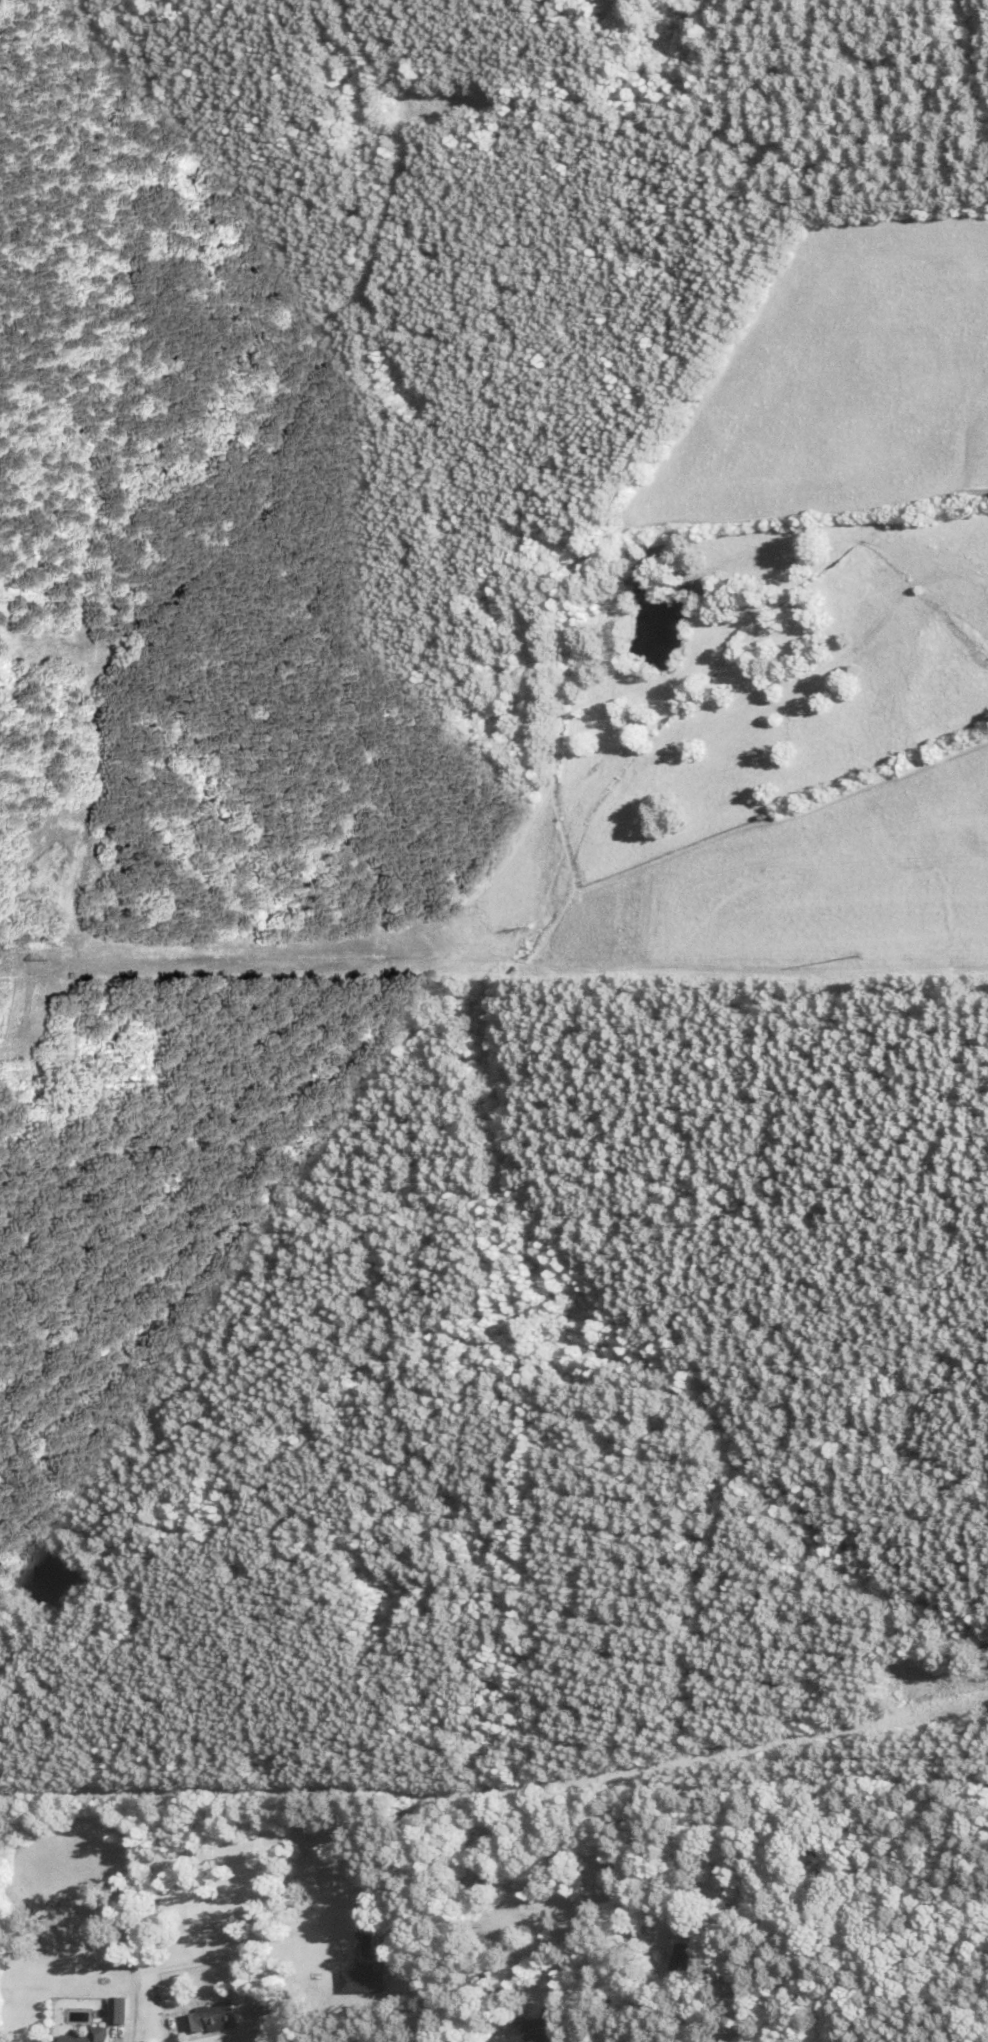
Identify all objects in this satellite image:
building: (689, 1963)
building: (366, 1977)
building: (268, 2006)
building: (213, 2016)
building: (545, 2026)
building: (91, 2035)

